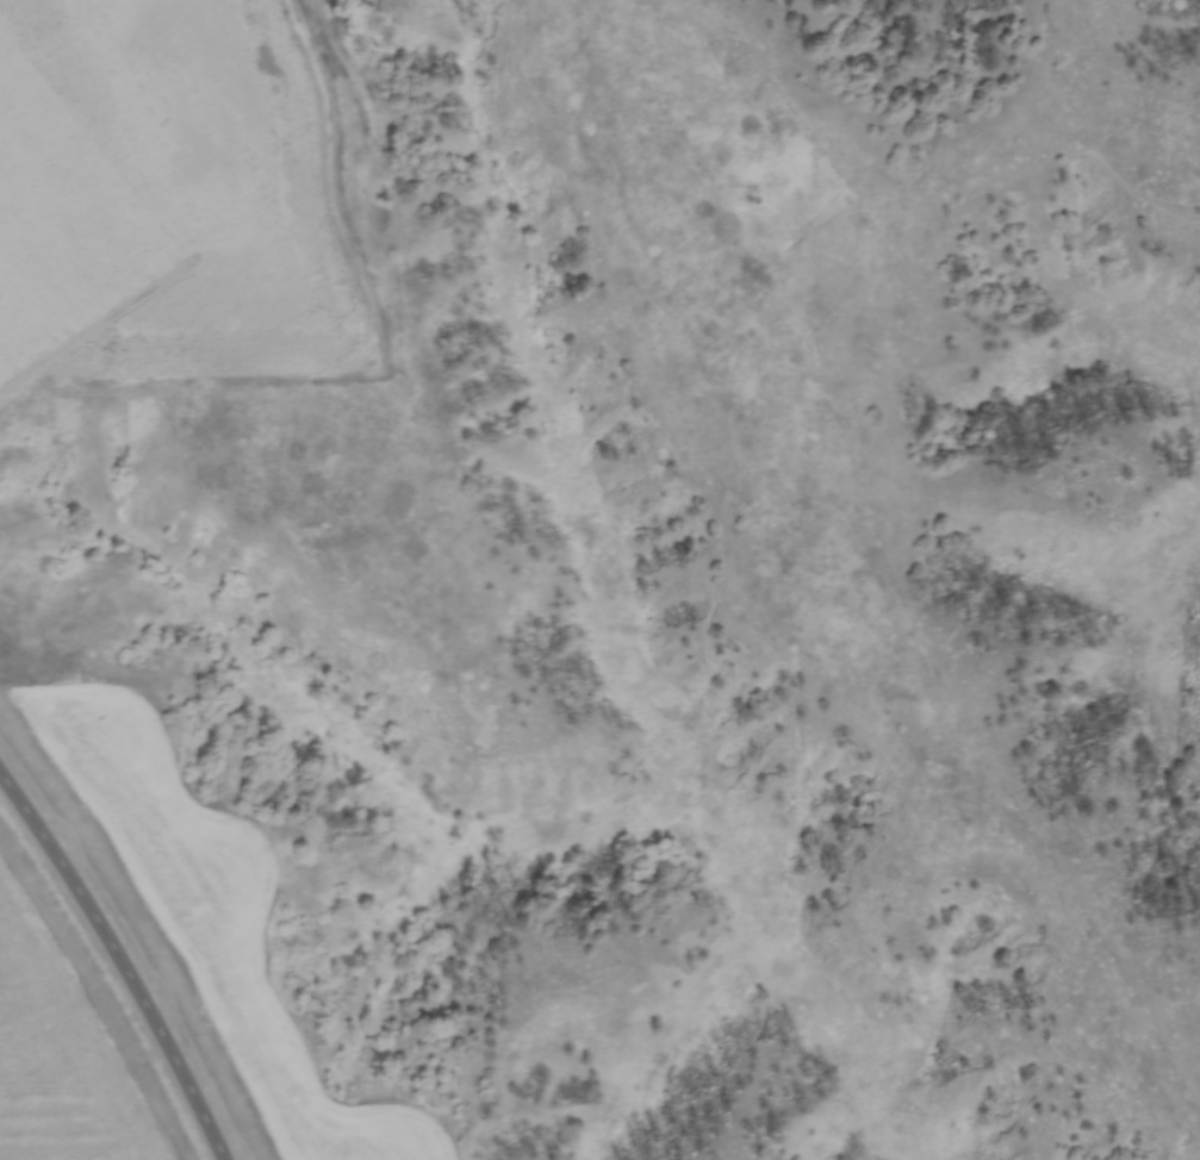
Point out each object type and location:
road: (119, 961)

